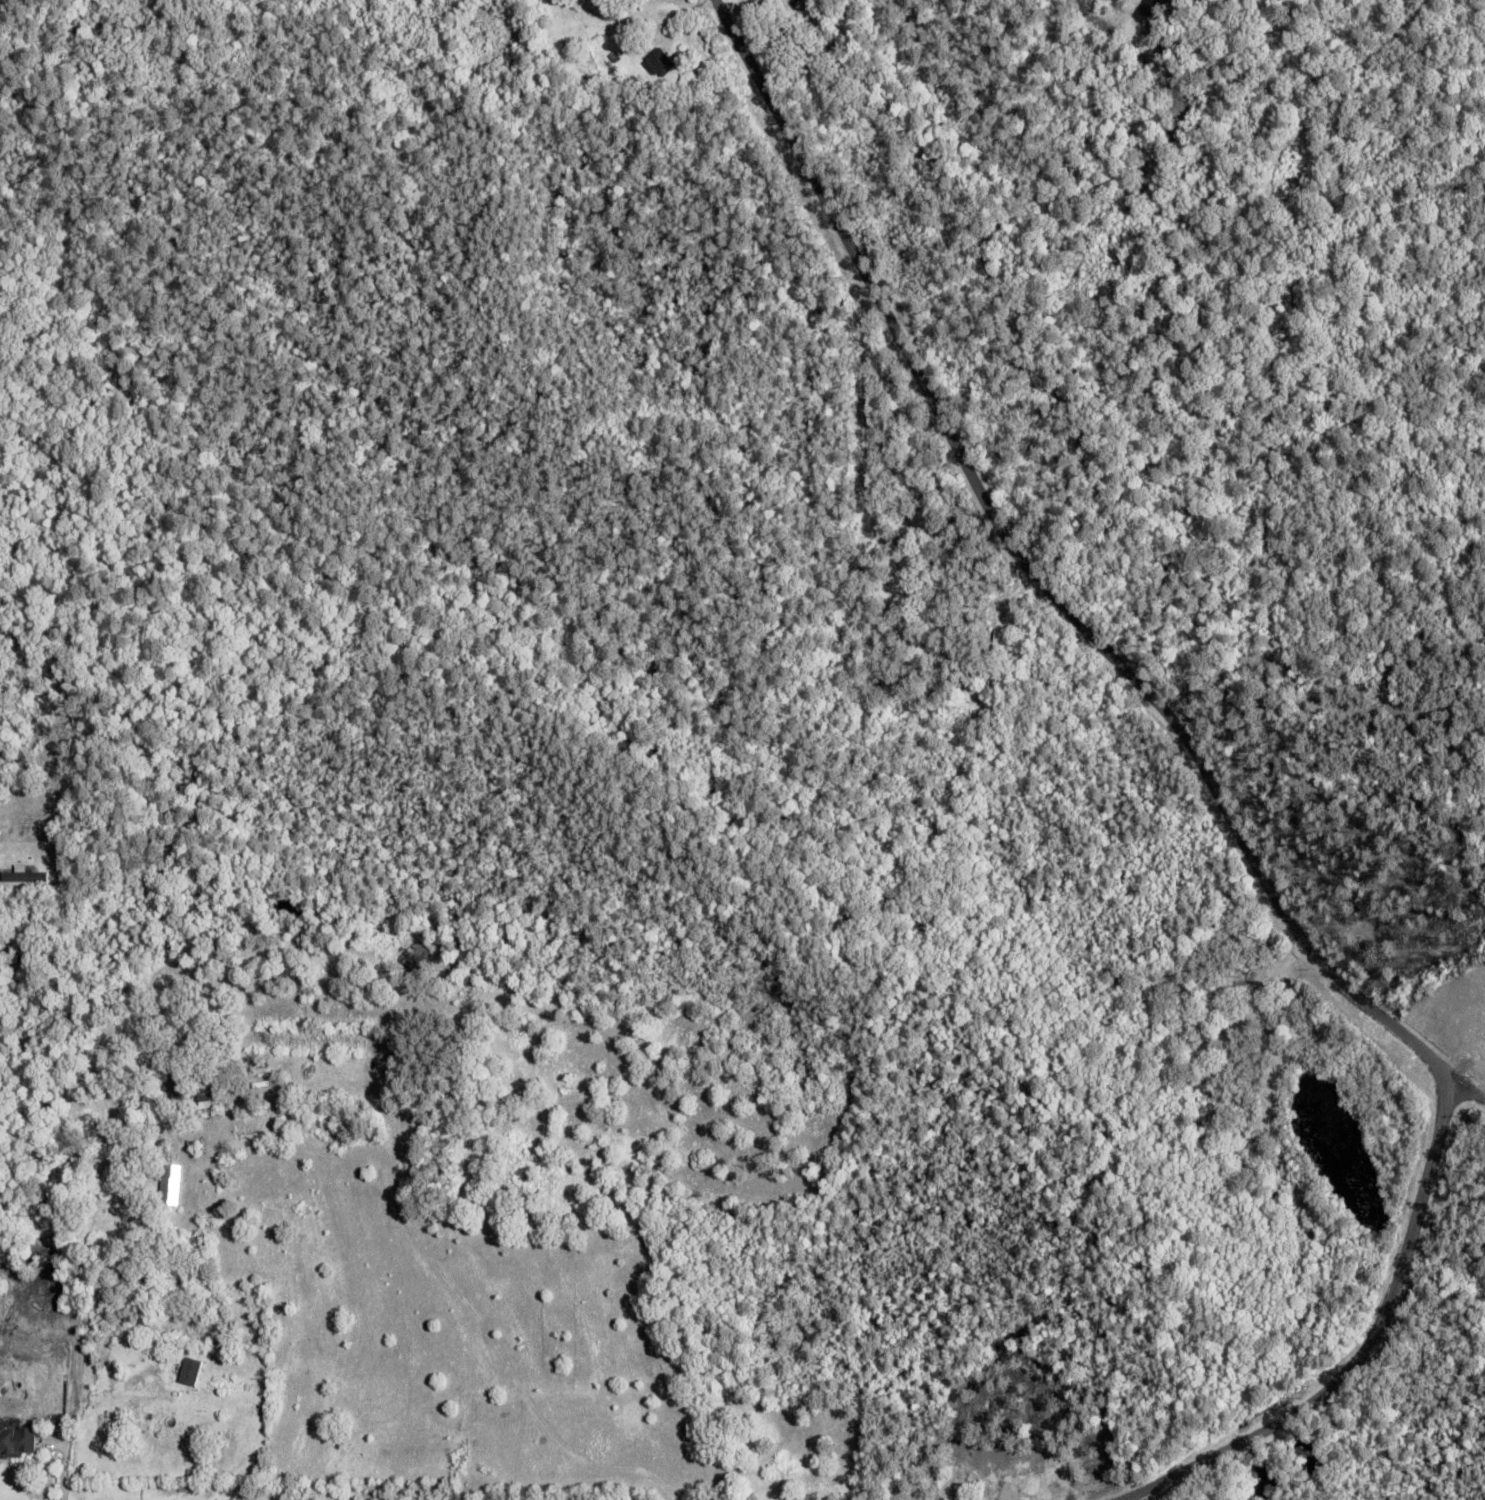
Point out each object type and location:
building: (596, 17)
building: (784, 44)
building: (616, 57)
building: (660, 63)
building: (912, 563)
road: (1051, 587)
building: (62, 865)
building: (27, 878)
building: (1215, 1034)
building: (261, 1071)
building: (181, 1087)
building: (172, 1186)
road: (1367, 1352)
building: (192, 1374)
building: (205, 1380)
building: (215, 1396)
road: (61, 1407)
building: (17, 1438)
building: (951, 1491)
building: (195, 1493)
building: (978, 1499)

